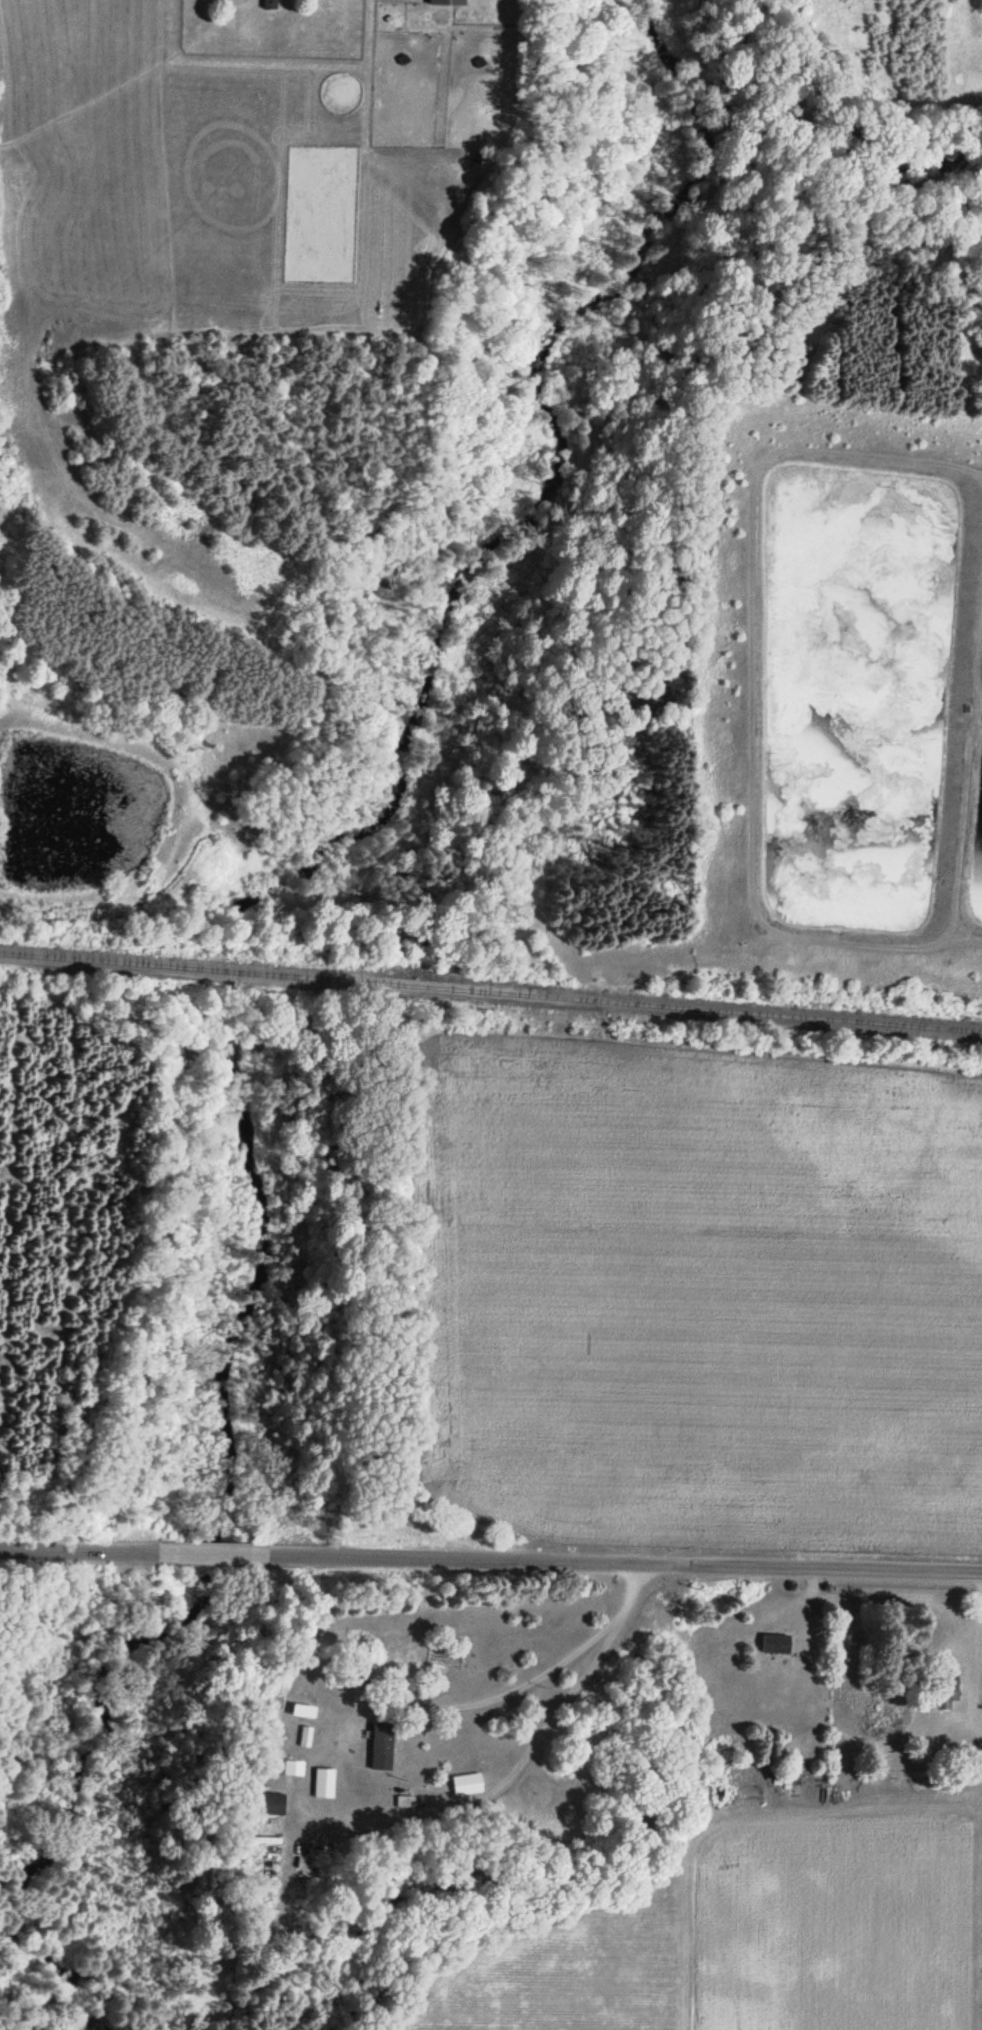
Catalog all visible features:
building: (448, 2)
building: (270, 3)
wastewater plant: (832, 685)
railway: (490, 989)
road: (78, 1548)
road: (207, 1551)
road: (620, 1559)
building: (776, 1643)
building: (383, 1739)
building: (298, 1761)
building: (324, 1783)
building: (269, 1804)

